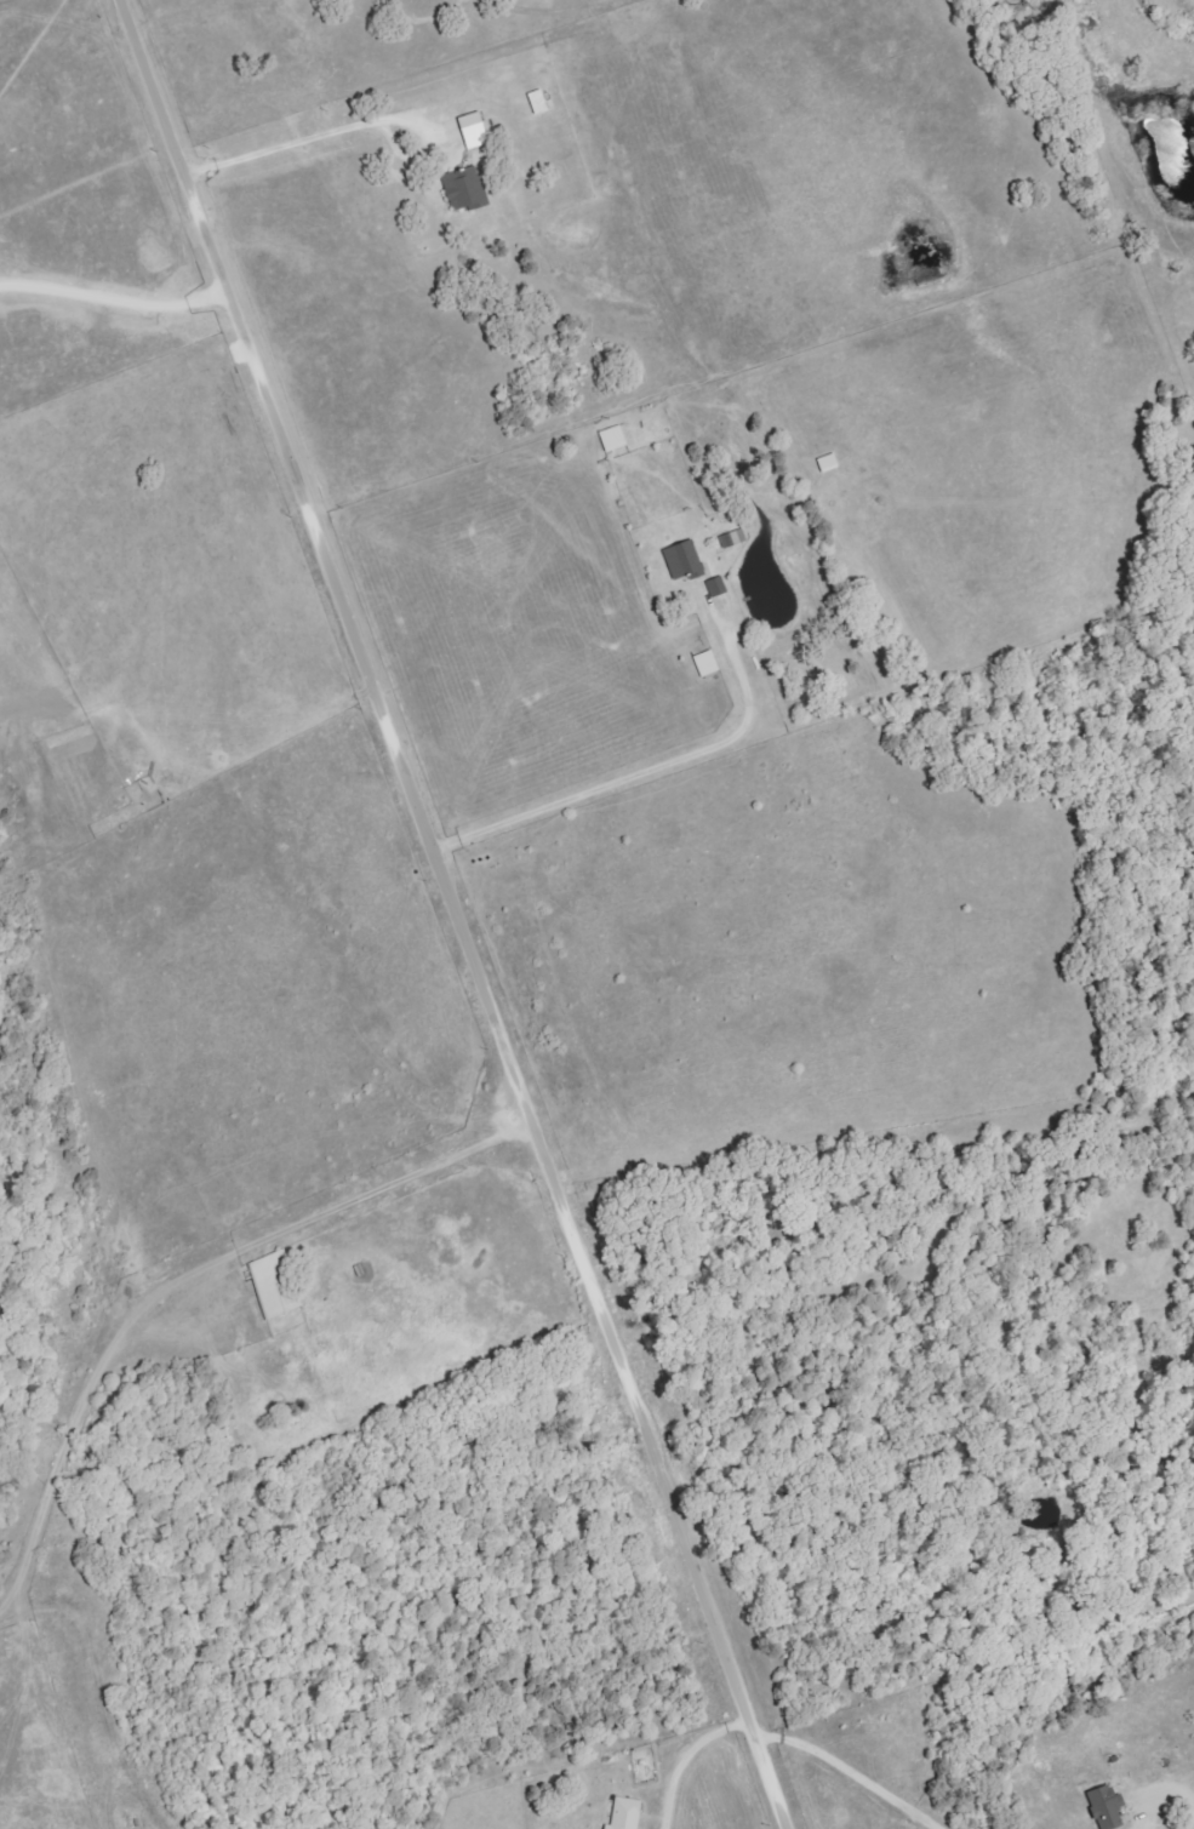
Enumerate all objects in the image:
building: (539, 102)
building: (475, 130)
road: (309, 139)
building: (467, 188)
road: (115, 290)
building: (615, 438)
building: (829, 463)
building: (685, 560)
building: (718, 587)
building: (708, 663)
road: (649, 768)
road: (456, 913)
road: (394, 1181)
building: (275, 1286)
road: (685, 1759)
road: (850, 1768)
building: (1107, 1807)
building: (627, 1814)

